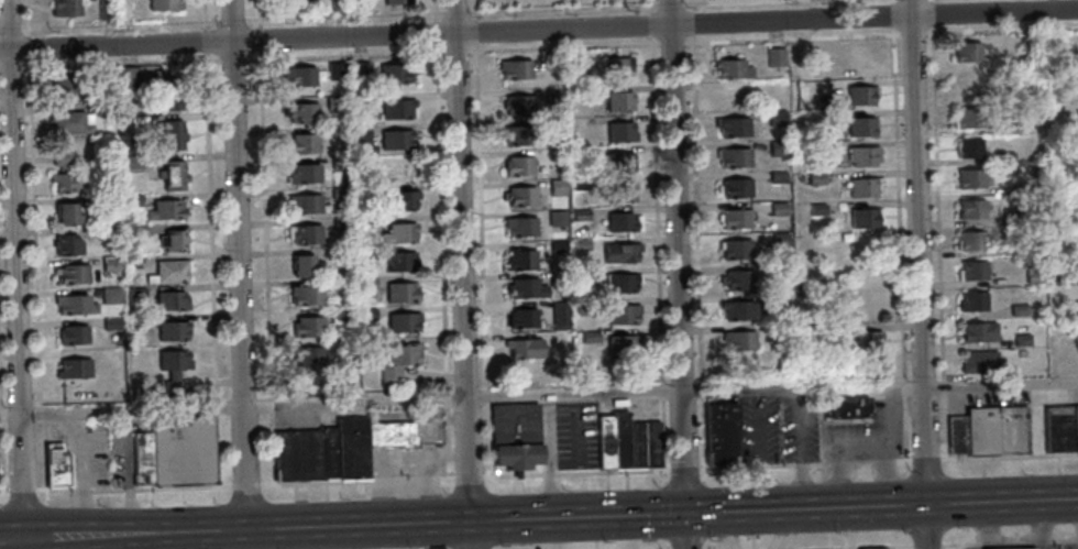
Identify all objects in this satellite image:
building: (301, 0)
building: (398, 1)
road: (594, 3)
road: (651, 3)
building: (361, 4)
building: (163, 6)
building: (338, 6)
road: (435, 6)
road: (474, 7)
building: (64, 8)
building: (105, 9)
building: (127, 9)
road: (455, 10)
road: (205, 13)
road: (28, 15)
road: (323, 15)
road: (436, 15)
road: (691, 18)
road: (651, 21)
road: (114, 23)
road: (11, 26)
road: (475, 30)
road: (436, 31)
road: (539, 31)
road: (881, 34)
road: (206, 40)
road: (671, 41)
building: (1027, 42)
building: (1046, 42)
road: (29, 45)
road: (563, 45)
road: (455, 50)
building: (967, 52)
road: (231, 56)
building: (776, 57)
building: (555, 59)
building: (861, 65)
road: (11, 66)
building: (618, 66)
building: (361, 68)
building: (516, 68)
building: (338, 69)
building: (733, 70)
building: (395, 73)
building: (300, 75)
building: (129, 77)
building: (67, 83)
building: (172, 89)
building: (557, 94)
building: (861, 95)
building: (338, 100)
building: (363, 100)
building: (620, 100)
building: (519, 105)
building: (398, 108)
building: (108, 109)
building: (304, 111)
building: (776, 118)
building: (968, 118)
building: (71, 122)
building: (558, 123)
building: (1070, 124)
building: (1011, 125)
building: (733, 127)
building: (861, 127)
building: (621, 131)
building: (362, 132)
building: (173, 134)
building: (341, 134)
building: (520, 134)
building: (398, 139)
building: (304, 143)
building: (969, 149)
building: (777, 150)
building: (805, 153)
building: (558, 155)
building: (1071, 156)
building: (735, 157)
building: (862, 157)
building: (1003, 157)
building: (341, 161)
building: (620, 161)
building: (133, 163)
building: (517, 165)
building: (305, 172)
building: (67, 173)
building: (176, 175)
building: (778, 177)
building: (969, 178)
building: (815, 179)
building: (559, 185)
building: (580, 185)
building: (736, 187)
building: (864, 187)
building: (1022, 188)
road: (936, 189)
building: (341, 191)
building: (621, 191)
building: (521, 195)
building: (364, 196)
road: (264, 197)
building: (132, 200)
building: (400, 200)
building: (98, 201)
building: (306, 202)
building: (167, 208)
road: (657, 208)
building: (778, 208)
building: (817, 209)
building: (971, 209)
building: (69, 212)
road: (480, 216)
building: (1075, 216)
building: (558, 217)
building: (583, 217)
building: (1011, 217)
road: (441, 218)
building: (865, 218)
building: (625, 220)
building: (735, 220)
building: (366, 221)
building: (343, 222)
road: (211, 226)
building: (521, 226)
road: (899, 229)
building: (400, 231)
road: (34, 232)
building: (306, 233)
building: (173, 241)
building: (779, 241)
building: (970, 241)
building: (68, 243)
building: (582, 243)
building: (559, 244)
building: (1023, 249)
building: (737, 251)
building: (367, 252)
building: (624, 252)
building: (342, 253)
road: (697, 257)
building: (522, 259)
building: (404, 261)
building: (111, 262)
building: (306, 265)
building: (172, 271)
building: (971, 271)
building: (71, 273)
road: (14, 274)
road: (238, 274)
road: (461, 274)
road: (678, 274)
road: (919, 274)
building: (561, 275)
building: (584, 276)
building: (1033, 277)
building: (1075, 277)
building: (787, 279)
building: (739, 281)
building: (369, 282)
building: (625, 282)
building: (343, 283)
building: (528, 287)
building: (403, 292)
building: (111, 294)
building: (307, 294)
building: (137, 295)
building: (780, 298)
building: (173, 299)
building: (972, 301)
building: (76, 303)
building: (584, 306)
building: (1076, 307)
building: (737, 310)
building: (1019, 310)
building: (367, 312)
building: (344, 314)
building: (625, 314)
building: (562, 316)
building: (525, 317)
building: (141, 321)
building: (405, 321)
building: (113, 322)
building: (309, 326)
building: (174, 329)
building: (784, 329)
building: (979, 332)
building: (74, 333)
building: (592, 336)
building: (738, 340)
building: (868, 340)
building: (1022, 340)
building: (619, 344)
building: (526, 348)
building: (308, 358)
building: (346, 360)
building: (400, 360)
building: (978, 361)
building: (174, 367)
building: (74, 369)
building: (872, 371)
road: (0, 388)
road: (944, 388)
road: (944, 388)
road: (795, 392)
road: (486, 395)
road: (447, 397)
road: (389, 399)
road: (271, 404)
road: (217, 407)
building: (849, 408)
road: (40, 411)
road: (1, 414)
road: (447, 424)
road: (944, 427)
building: (1075, 427)
parking lot: (779, 428)
building: (1058, 428)
road: (576, 430)
road: (664, 430)
parking lot: (866, 431)
road: (891, 431)
building: (989, 431)
parking lot: (576, 433)
building: (722, 435)
building: (391, 436)
building: (515, 438)
road: (486, 439)
building: (619, 441)
building: (605, 442)
building: (635, 446)
building: (651, 446)
building: (352, 448)
road: (271, 449)
road: (760, 449)
building: (183, 450)
road: (218, 450)
road: (447, 450)
road: (457, 450)
road: (801, 451)
building: (329, 453)
road: (42, 454)
road: (2, 457)
building: (297, 457)
road: (416, 457)
road: (549, 457)
building: (142, 459)
parking lot: (408, 460)
road: (888, 460)
building: (56, 465)
road: (448, 468)
road: (884, 469)
road: (612, 470)
road: (683, 470)
road: (838, 470)
road: (127, 472)
road: (550, 472)
road: (513, 474)
road: (468, 475)
road: (426, 476)
road: (446, 476)
road: (406, 477)
road: (383, 479)
road: (245, 483)
road: (315, 483)
road: (183, 486)
road: (129, 488)
road: (430, 488)
road: (79, 490)
road: (21, 491)
road: (382, 491)
road: (3, 493)
road: (705, 508)
road: (665, 510)
traffic signals: (684, 514)
road: (539, 519)
road: (1010, 541)
road: (707, 543)
road: (926, 543)
road: (668, 546)
road: (963, 546)
road: (850, 547)
road: (893, 547)
building: (1010, 548)

